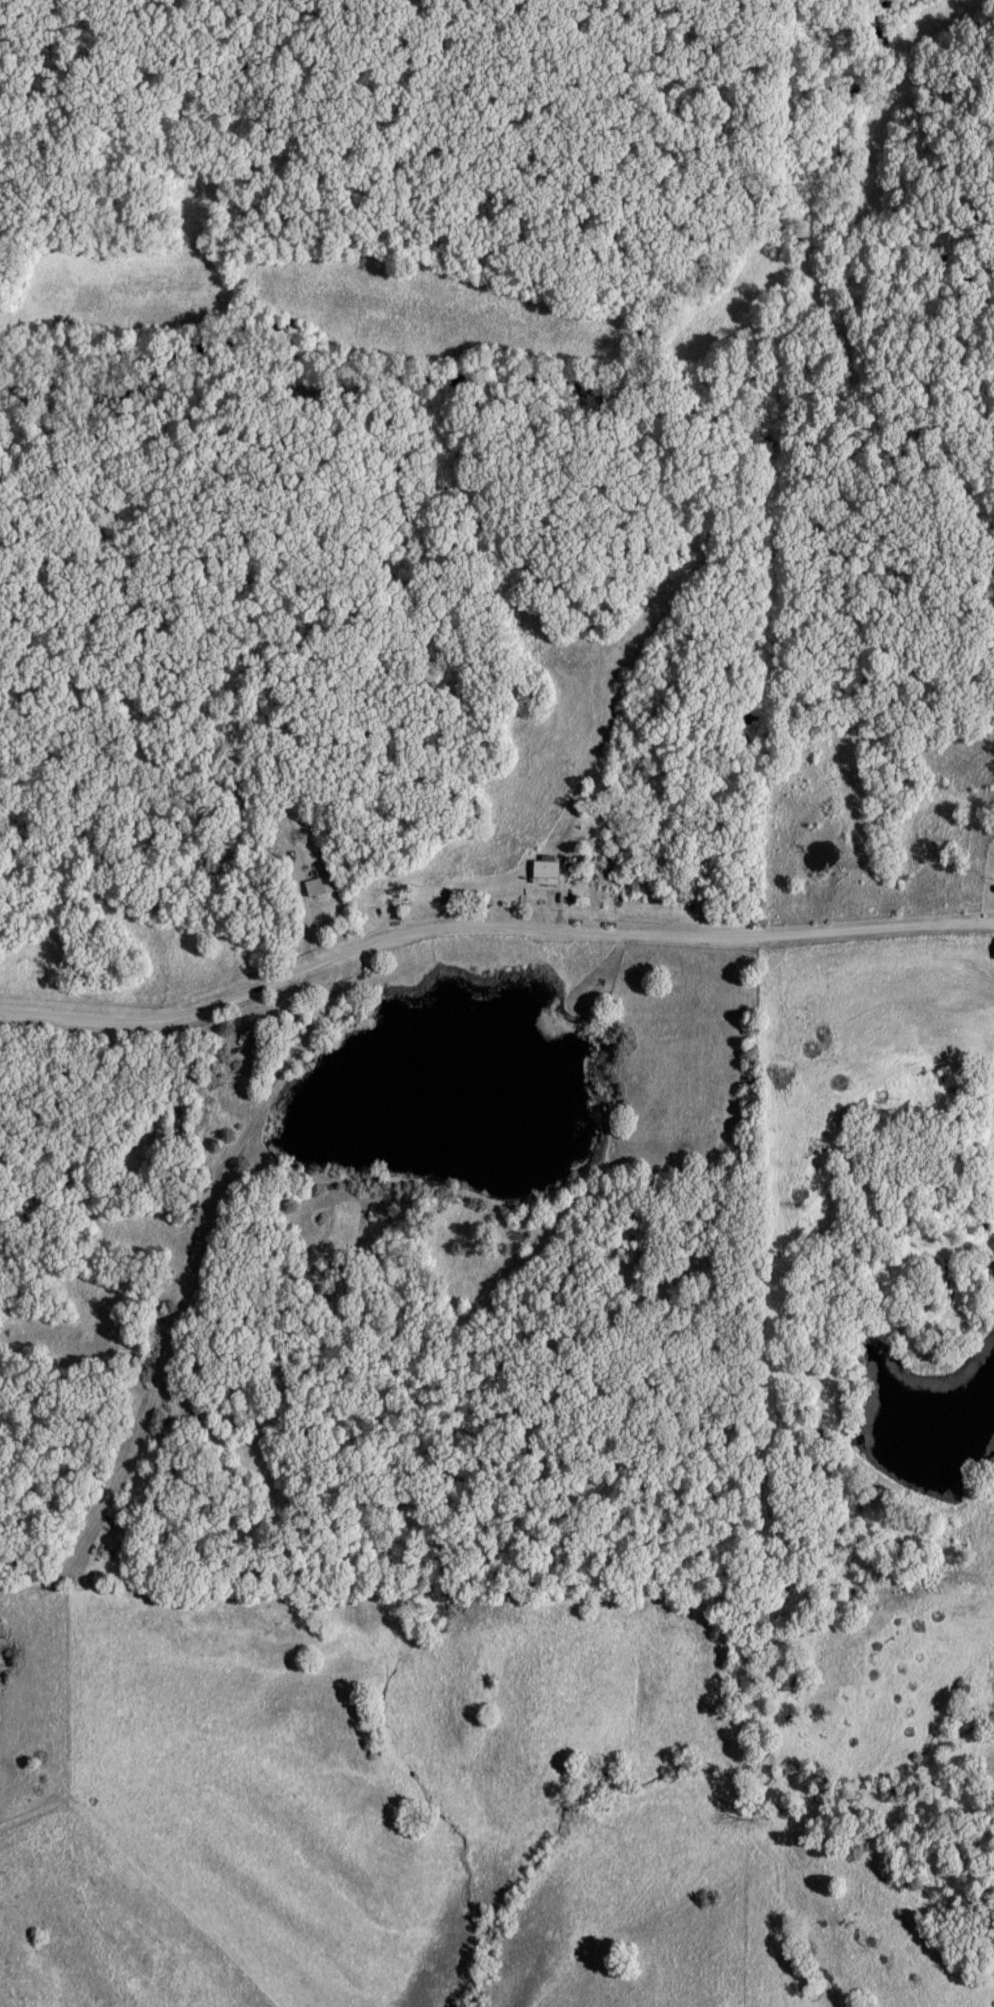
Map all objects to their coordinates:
building: (548, 873)
road: (489, 925)

